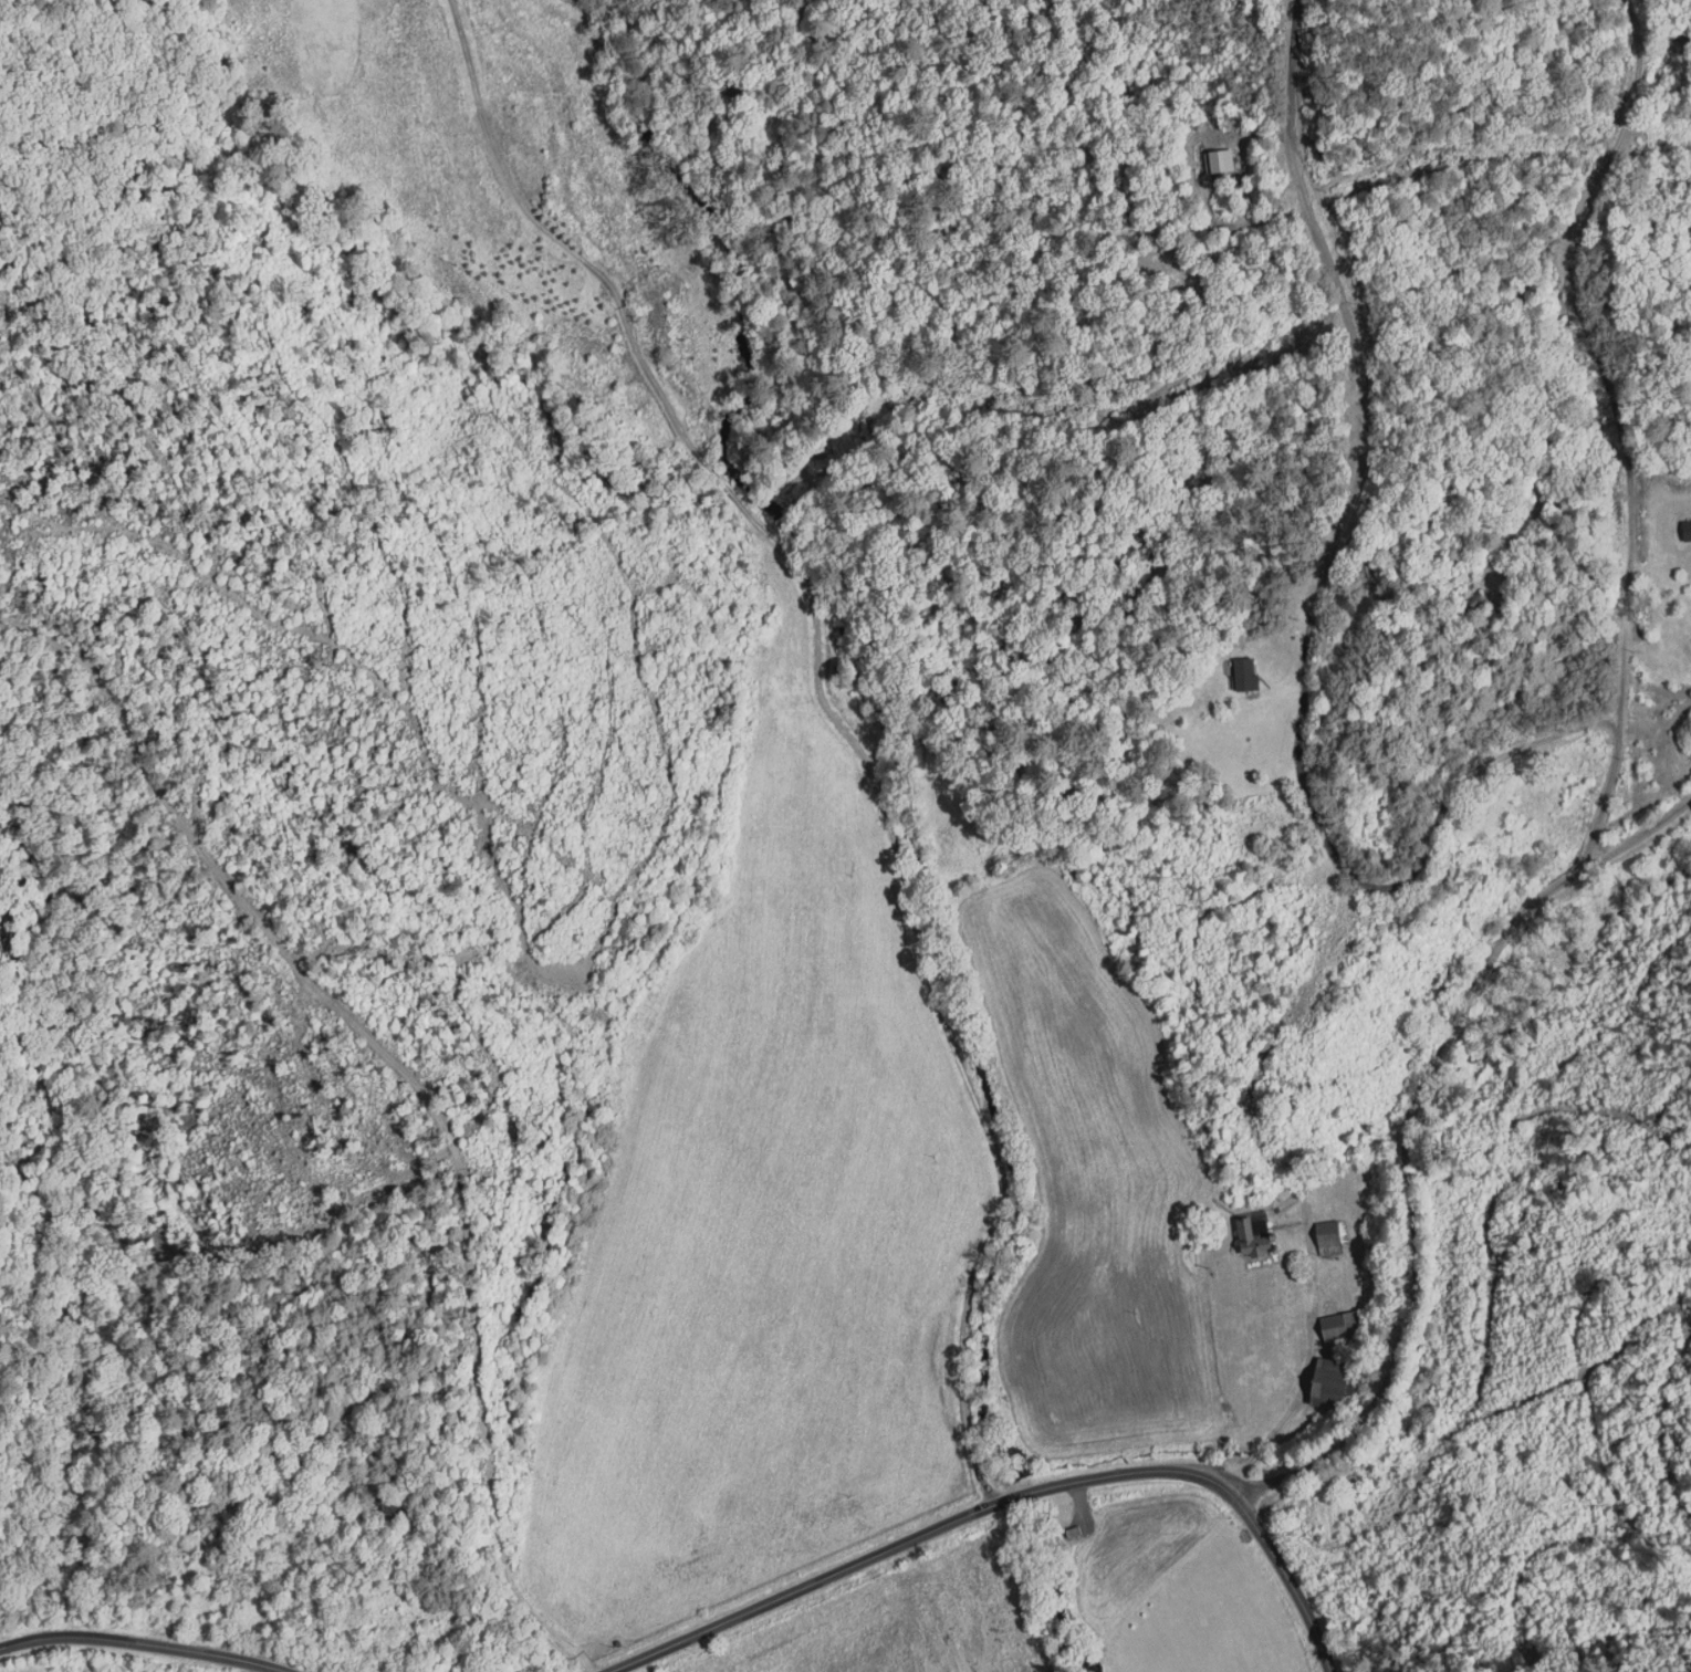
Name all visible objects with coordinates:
building: (1221, 160)
road: (1611, 437)
building: (1244, 673)
road: (815, 713)
road: (1478, 760)
road: (401, 1079)
building: (1251, 1239)
building: (1330, 1239)
building: (1340, 1327)
building: (1333, 1383)
road: (1008, 1497)
building: (390, 1505)
road: (147, 1641)

